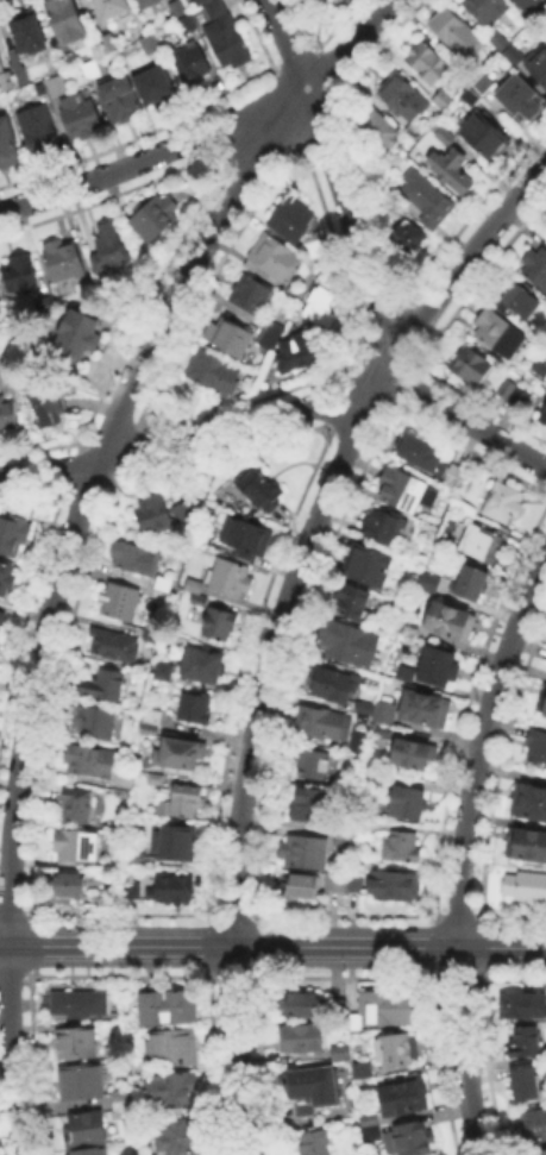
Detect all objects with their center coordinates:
building: (202, 1)
building: (328, 1)
building: (532, 4)
building: (164, 7)
building: (114, 10)
building: (488, 10)
building: (65, 20)
building: (184, 26)
building: (458, 36)
building: (31, 37)
building: (222, 38)
building: (108, 45)
building: (150, 45)
building: (428, 63)
building: (539, 64)
building: (190, 65)
building: (93, 70)
building: (6, 79)
building: (55, 83)
building: (155, 87)
building: (478, 90)
building: (43, 94)
building: (406, 99)
building: (445, 100)
building: (521, 100)
building: (121, 102)
building: (81, 119)
building: (377, 130)
building: (40, 133)
building: (447, 136)
building: (488, 137)
building: (8, 147)
road: (137, 159)
building: (452, 168)
building: (385, 175)
road: (334, 180)
building: (427, 201)
building: (151, 215)
building: (288, 218)
building: (409, 238)
building: (107, 247)
building: (274, 256)
building: (59, 257)
building: (535, 269)
building: (15, 270)
building: (250, 291)
building: (318, 302)
building: (520, 302)
building: (74, 331)
building: (226, 333)
building: (268, 333)
building: (500, 335)
building: (293, 351)
building: (472, 368)
building: (541, 369)
building: (212, 370)
building: (515, 395)
building: (44, 402)
building: (7, 410)
building: (544, 418)
road: (466, 419)
road: (186, 440)
building: (422, 451)
building: (257, 487)
building: (398, 488)
building: (501, 500)
building: (161, 516)
building: (378, 523)
building: (12, 533)
building: (245, 533)
road: (69, 534)
building: (481, 542)
building: (132, 555)
building: (364, 563)
building: (4, 575)
building: (226, 575)
building: (469, 579)
building: (426, 580)
building: (159, 582)
building: (192, 583)
building: (349, 600)
building: (121, 601)
building: (0, 613)
building: (446, 619)
building: (216, 622)
road: (278, 624)
building: (406, 624)
building: (150, 634)
building: (345, 640)
building: (112, 644)
building: (403, 644)
building: (200, 663)
building: (435, 664)
building: (403, 671)
building: (162, 674)
building: (331, 680)
building: (99, 682)
building: (192, 704)
building: (544, 705)
building: (422, 707)
building: (362, 710)
building: (383, 710)
building: (156, 718)
building: (90, 720)
building: (320, 720)
building: (381, 728)
building: (150, 733)
building: (534, 745)
building: (177, 749)
building: (408, 752)
building: (88, 759)
building: (313, 764)
building: (153, 776)
building: (372, 777)
building: (349, 781)
building: (180, 798)
building: (308, 799)
building: (404, 799)
building: (528, 799)
building: (73, 802)
building: (366, 827)
building: (339, 837)
building: (174, 840)
building: (525, 842)
building: (75, 843)
building: (398, 843)
building: (302, 849)
road: (462, 850)
building: (351, 878)
building: (332, 880)
building: (67, 881)
building: (393, 881)
building: (299, 883)
building: (525, 885)
building: (172, 887)
building: (130, 889)
road: (272, 947)
building: (73, 1000)
building: (299, 1003)
building: (521, 1003)
building: (163, 1004)
building: (335, 1005)
building: (385, 1005)
building: (353, 1021)
building: (301, 1036)
building: (75, 1040)
building: (520, 1040)
building: (168, 1046)
building: (391, 1047)
building: (338, 1050)
building: (359, 1067)
building: (79, 1080)
building: (525, 1080)
building: (309, 1084)
building: (170, 1087)
building: (401, 1093)
building: (366, 1117)
building: (533, 1123)
building: (81, 1125)
building: (369, 1131)
building: (178, 1135)
building: (406, 1137)
building: (313, 1142)
building: (86, 1151)
building: (536, 1151)

